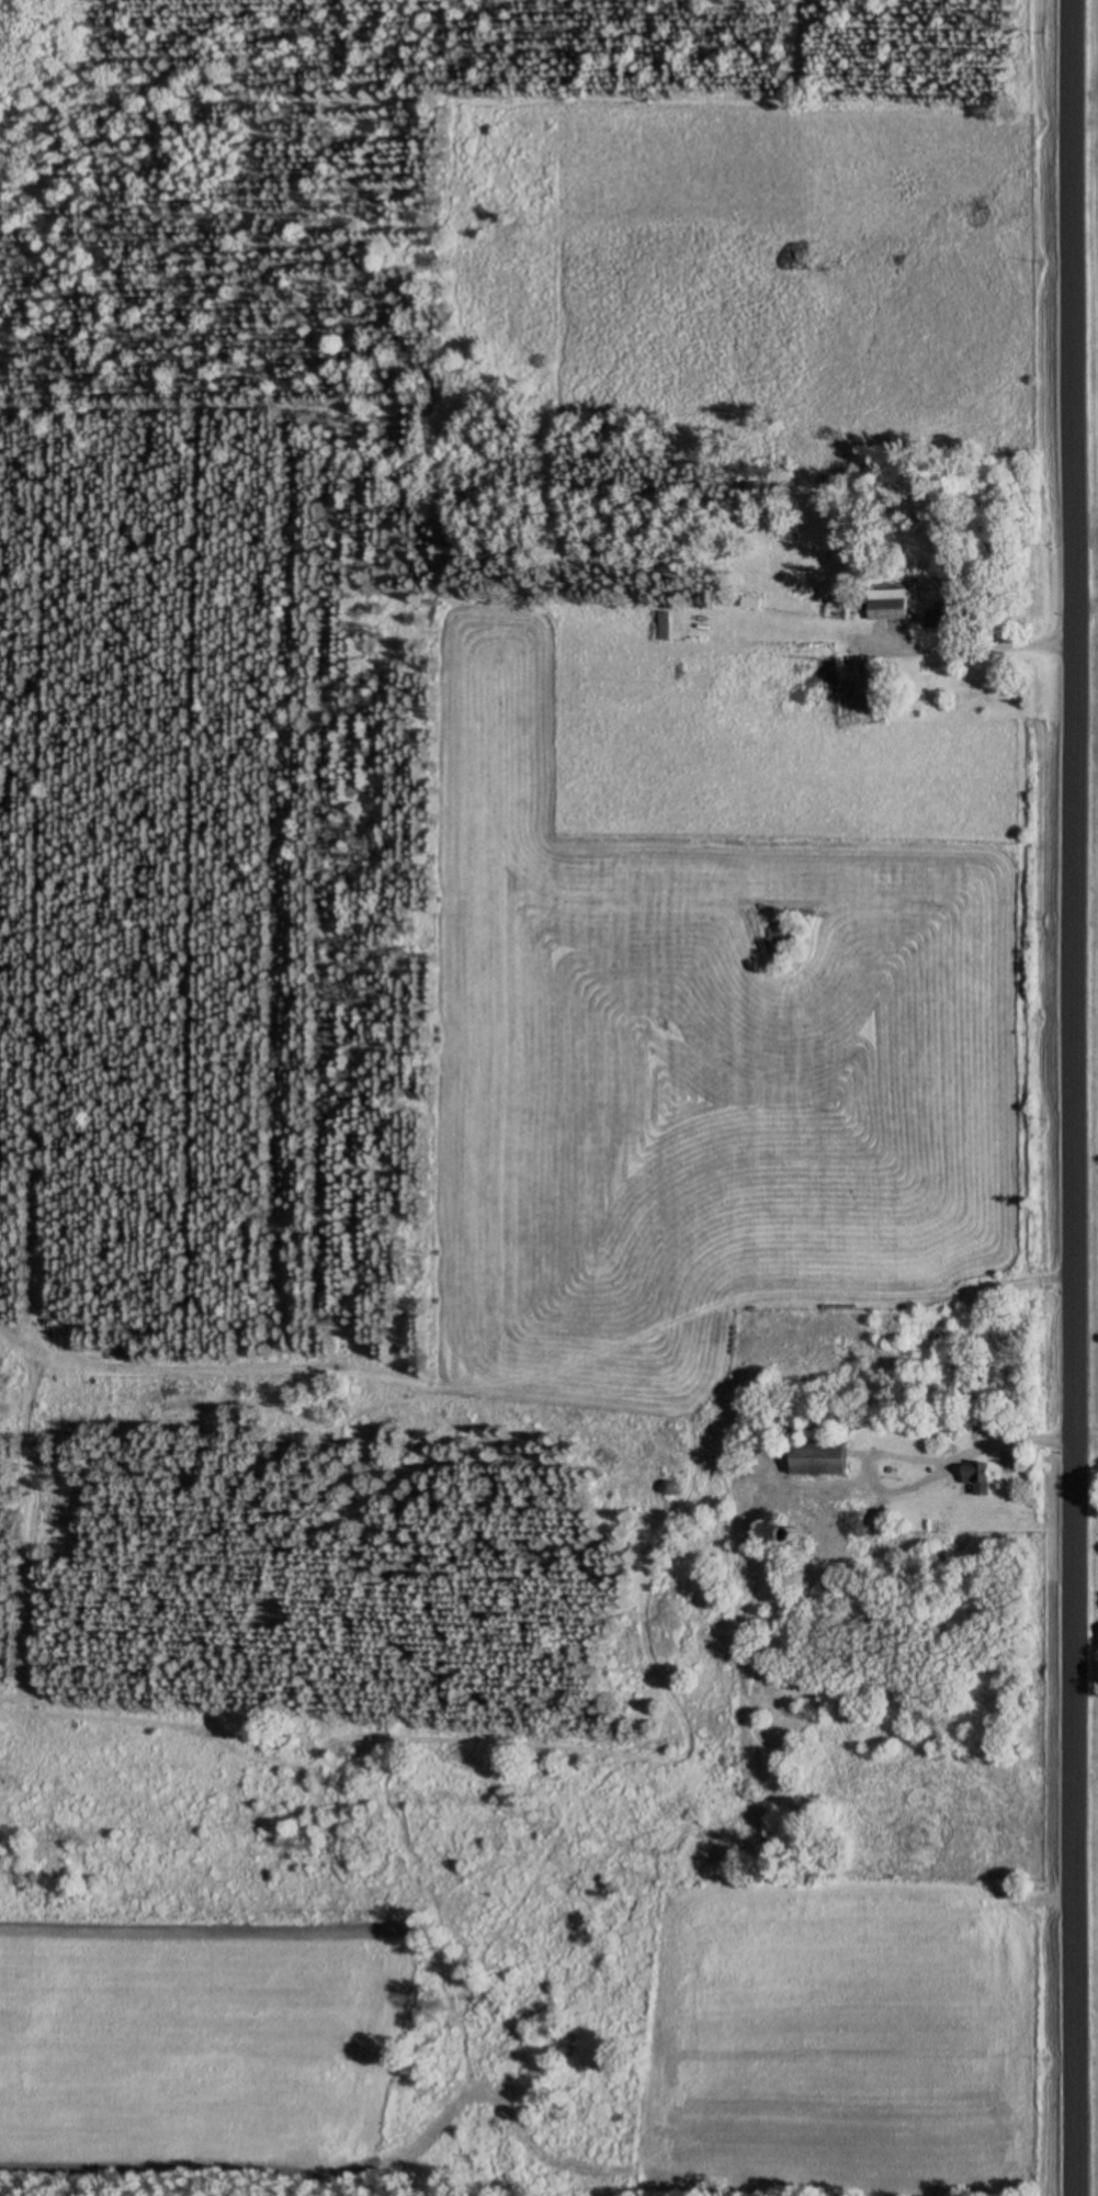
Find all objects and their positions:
building: (750, 604)
building: (887, 610)
building: (946, 617)
building: (664, 627)
building: (864, 688)
road: (1064, 1097)
building: (817, 1459)
building: (977, 1479)
building: (824, 1535)

